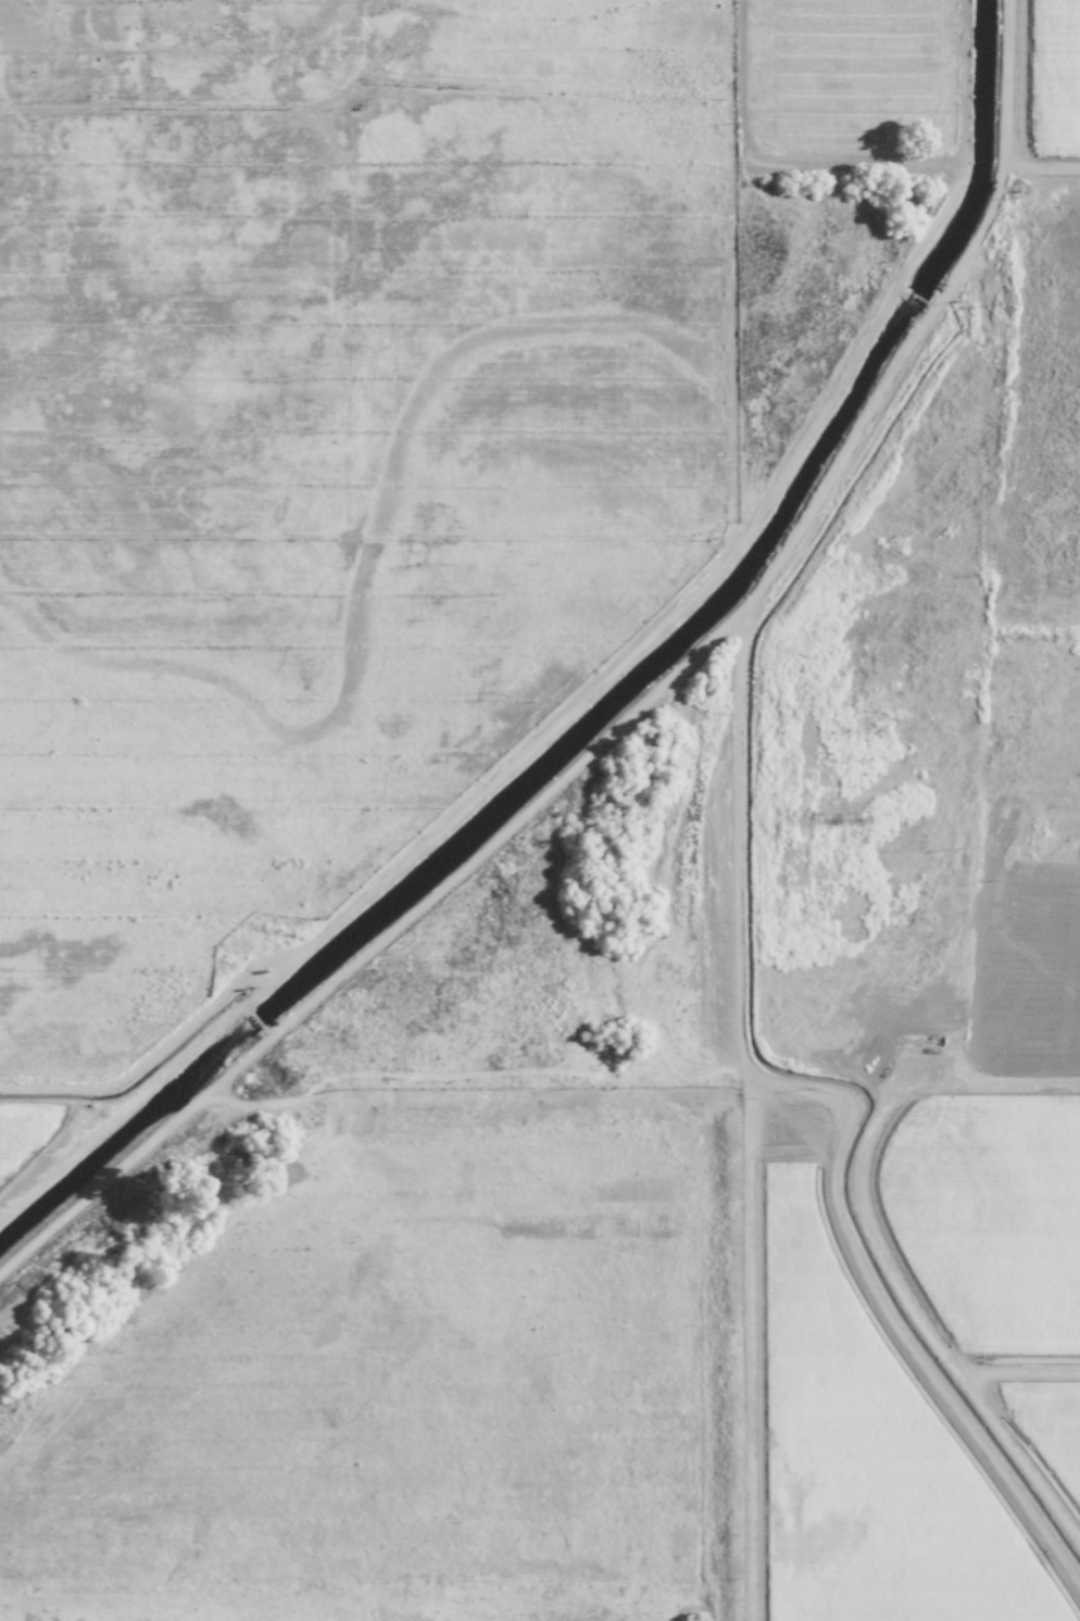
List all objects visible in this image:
road: (864, 1203)

